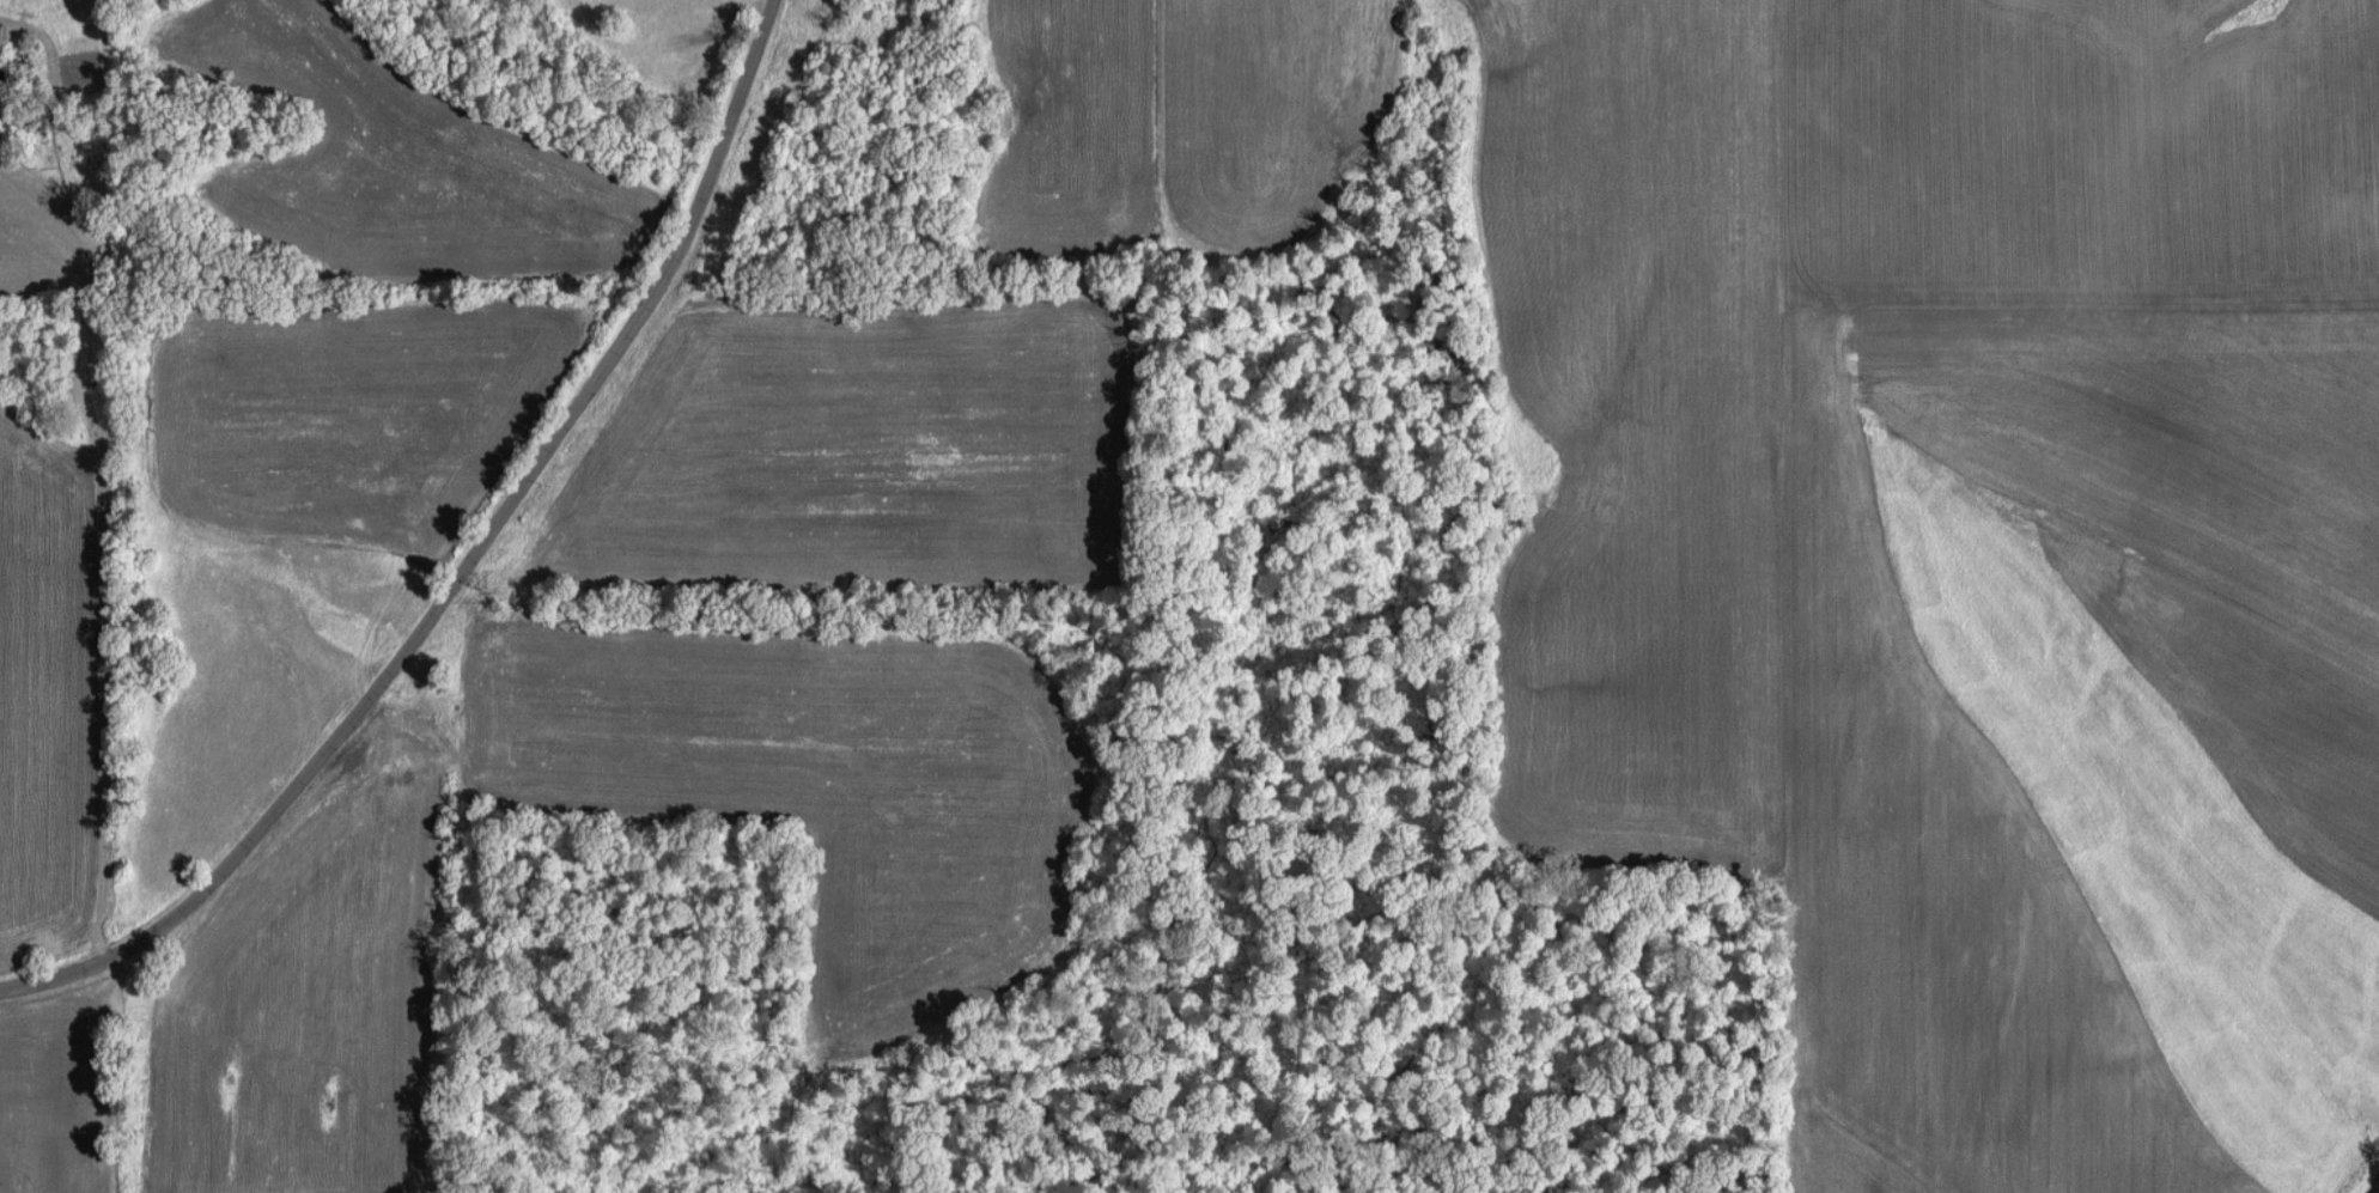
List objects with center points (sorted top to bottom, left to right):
road: (464, 561)
road: (2369, 1179)

